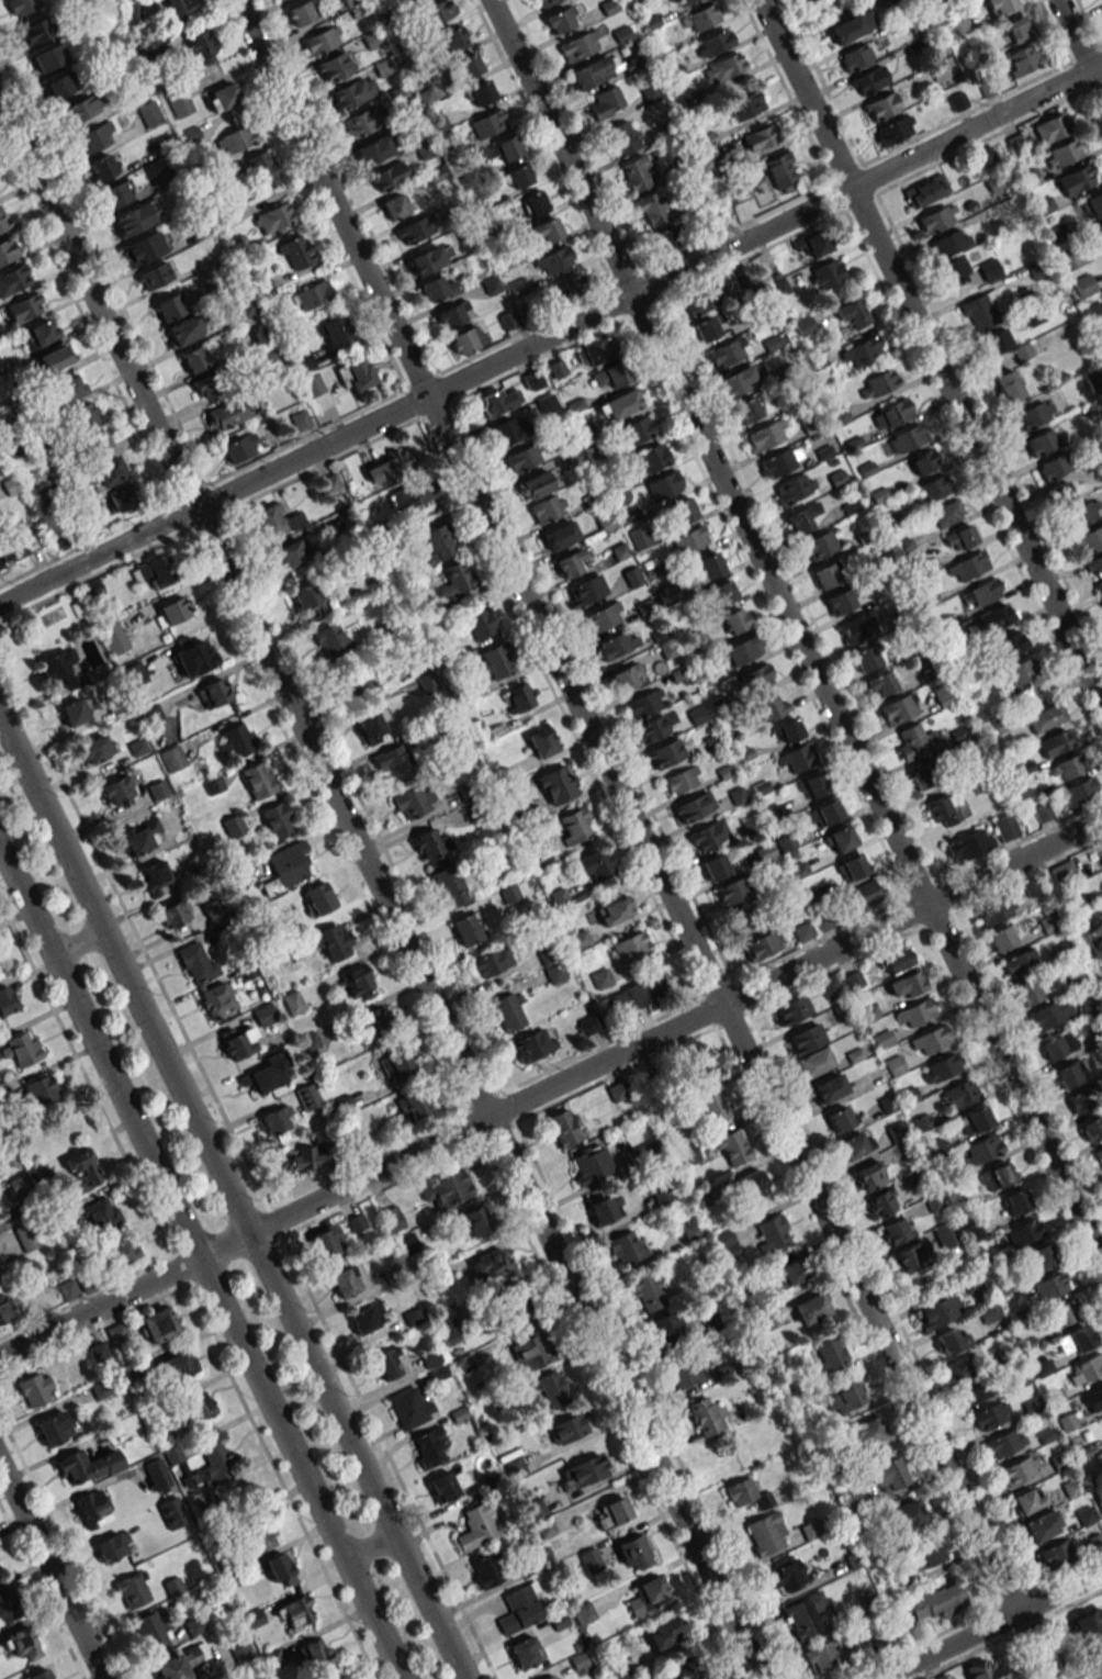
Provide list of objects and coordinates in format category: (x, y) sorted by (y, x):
building: (415, 0)
building: (1101, 0)
building: (544, 1)
building: (684, 2)
building: (22, 5)
building: (999, 5)
building: (179, 7)
building: (302, 11)
building: (437, 11)
building: (564, 18)
building: (701, 18)
building: (851, 26)
building: (1017, 29)
building: (959, 30)
building: (34, 31)
building: (453, 38)
building: (322, 41)
building: (713, 43)
building: (580, 45)
building: (202, 46)
road: (1078, 47)
building: (854, 57)
building: (48, 58)
building: (1023, 59)
building: (466, 65)
building: (334, 67)
building: (723, 68)
building: (595, 69)
building: (868, 80)
building: (58, 86)
building: (353, 92)
building: (480, 92)
building: (223, 97)
building: (605, 101)
building: (180, 103)
building: (744, 105)
building: (881, 105)
building: (82, 108)
building: (149, 113)
building: (360, 122)
building: (488, 123)
building: (1052, 127)
building: (895, 130)
building: (94, 137)
building: (760, 137)
building: (237, 138)
building: (621, 138)
building: (507, 147)
building: (373, 149)
building: (1064, 153)
building: (102, 167)
building: (262, 169)
building: (781, 169)
building: (636, 174)
building: (389, 176)
building: (518, 176)
building: (1077, 179)
building: (925, 191)
building: (116, 194)
building: (533, 203)
building: (1093, 204)
building: (395, 205)
building: (650, 209)
building: (274, 216)
building: (135, 217)
building: (937, 219)
building: (2, 223)
building: (414, 230)
building: (547, 230)
building: (1099, 232)
building: (667, 239)
building: (816, 244)
building: (946, 244)
building: (144, 247)
building: (7, 249)
building: (295, 251)
building: (426, 260)
building: (553, 260)
building: (954, 267)
building: (826, 275)
building: (154, 276)
building: (13, 279)
building: (1083, 286)
building: (438, 287)
building: (571, 287)
building: (313, 294)
building: (700, 301)
building: (246, 305)
building: (25, 307)
building: (169, 307)
building: (852, 313)
building: (978, 313)
building: (1094, 313)
building: (452, 315)
building: (707, 327)
building: (183, 329)
building: (334, 332)
building: (38, 334)
road: (551, 335)
building: (1100, 336)
building: (465, 339)
building: (997, 342)
building: (598, 351)
building: (727, 352)
building: (862, 352)
road: (930, 352)
building: (55, 359)
building: (194, 359)
building: (303, 361)
building: (356, 374)
building: (610, 374)
building: (738, 381)
building: (877, 383)
building: (209, 384)
building: (313, 385)
building: (70, 388)
building: (1009, 388)
building: (499, 400)
building: (620, 404)
building: (746, 411)
building: (226, 414)
building: (891, 414)
building: (83, 415)
building: (1033, 415)
building: (636, 430)
building: (507, 432)
building: (766, 435)
building: (903, 439)
building: (94, 440)
building: (1042, 443)
building: (240, 447)
building: (522, 458)
building: (649, 459)
building: (779, 461)
building: (923, 461)
building: (387, 466)
building: (1053, 467)
building: (109, 471)
building: (330, 483)
building: (536, 484)
building: (664, 485)
building: (933, 488)
building: (794, 489)
building: (412, 493)
building: (1059, 493)
building: (123, 496)
building: (547, 508)
building: (684, 510)
building: (1082, 513)
building: (944, 514)
building: (801, 517)
building: (275, 518)
building: (559, 535)
building: (640, 537)
building: (959, 538)
building: (1089, 539)
building: (689, 540)
building: (439, 542)
building: (819, 545)
building: (290, 559)
building: (570, 562)
building: (709, 564)
building: (967, 566)
building: (1095, 570)
building: (153, 572)
building: (826, 574)
building: (456, 580)
building: (584, 590)
building: (723, 591)
building: (981, 593)
building: (310, 601)
building: (841, 601)
building: (171, 612)
building: (604, 616)
building: (996, 616)
building: (479, 620)
building: (735, 620)
building: (858, 626)
road: (795, 634)
building: (113, 638)
building: (331, 639)
building: (616, 643)
building: (1009, 645)
building: (742, 650)
building: (194, 657)
building: (865, 658)
building: (494, 661)
building: (929, 667)
building: (64, 668)
building: (1020, 672)
building: (134, 673)
building: (627, 676)
building: (756, 676)
building: (353, 683)
building: (427, 683)
building: (880, 683)
building: (213, 693)
building: (942, 694)
building: (1023, 694)
building: (518, 697)
building: (644, 703)
building: (769, 706)
building: (897, 709)
building: (72, 712)
building: (1046, 717)
building: (371, 724)
building: (997, 726)
building: (653, 729)
building: (789, 730)
building: (236, 739)
building: (540, 740)
building: (915, 741)
building: (1055, 742)
building: (95, 749)
building: (665, 753)
building: (172, 758)
building: (796, 758)
building: (392, 761)
building: (1068, 768)
building: (923, 775)
building: (257, 780)
building: (682, 780)
building: (556, 784)
building: (813, 785)
building: (116, 791)
building: (1080, 791)
building: (414, 801)
building: (693, 806)
building: (942, 810)
building: (823, 813)
building: (278, 820)
building: (233, 826)
building: (574, 826)
building: (1005, 827)
building: (708, 835)
building: (139, 836)
road: (641, 839)
building: (840, 839)
building: (968, 844)
building: (431, 846)
building: (1100, 851)
building: (597, 863)
building: (288, 866)
building: (716, 866)
building: (851, 868)
building: (1062, 872)
building: (155, 878)
building: (448, 886)
road: (380, 888)
building: (514, 891)
building: (730, 892)
building: (864, 896)
building: (318, 898)
building: (614, 910)
building: (997, 910)
building: (173, 914)
building: (746, 919)
building: (468, 928)
building: (802, 931)
building: (1002, 937)
building: (334, 941)
road: (77, 943)
building: (762, 945)
building: (629, 948)
building: (195, 961)
building: (897, 961)
building: (492, 962)
building: (1020, 962)
building: (555, 973)
building: (356, 983)
building: (906, 985)
building: (829, 986)
building: (644, 990)
building: (1027, 992)
building: (5, 998)
building: (217, 999)
building: (292, 1001)
building: (792, 1009)
building: (509, 1010)
building: (915, 1012)
building: (1050, 1014)
building: (376, 1022)
building: (588, 1025)
building: (805, 1039)
building: (882, 1039)
building: (930, 1040)
building: (234, 1043)
building: (533, 1044)
building: (1057, 1044)
building: (23, 1049)
building: (814, 1063)
building: (396, 1064)
building: (693, 1066)
building: (896, 1066)
building: (941, 1067)
building: (266, 1074)
building: (1069, 1074)
road: (550, 1086)
building: (829, 1087)
building: (40, 1090)
building: (618, 1090)
building: (960, 1093)
building: (307, 1097)
building: (1081, 1100)
building: (413, 1104)
building: (713, 1108)
building: (840, 1118)
building: (974, 1120)
building: (272, 1123)
building: (565, 1127)
building: (1092, 1128)
building: (853, 1145)
building: (733, 1148)
building: (982, 1149)
building: (1099, 1156)
building: (303, 1158)
building: (591, 1164)
building: (82, 1169)
building: (869, 1175)
building: (997, 1176)
building: (752, 1180)
building: (447, 1189)
road: (232, 1198)
building: (1016, 1201)
building: (881, 1202)
building: (935, 1202)
building: (604, 1209)
building: (101, 1213)
building: (391, 1218)
building: (474, 1221)
building: (691, 1230)
building: (895, 1231)
building: (1024, 1231)
building: (772, 1232)
building: (945, 1235)
building: (25, 1236)
building: (326, 1242)
building: (625, 1247)
building: (123, 1251)
building: (1042, 1255)
building: (910, 1256)
road: (200, 1263)
building: (492, 1263)
building: (0, 1265)
building: (788, 1273)
building: (346, 1281)
building: (1050, 1286)
building: (648, 1291)
building: (516, 1303)
building: (810, 1309)
building: (2, 1310)
building: (937, 1312)
building: (988, 1313)
building: (1061, 1314)
building: (367, 1318)
building: (157, 1324)
building: (447, 1328)
building: (664, 1330)
building: (117, 1333)
building: (951, 1341)
building: (1076, 1341)
building: (530, 1348)
building: (98, 1352)
building: (831, 1354)
building: (386, 1364)
building: (176, 1366)
building: (957, 1367)
building: (1086, 1369)
building: (685, 1372)
building: (35, 1389)
building: (100, 1389)
building: (551, 1389)
building: (974, 1390)
building: (844, 1397)
building: (1094, 1398)
building: (199, 1406)
building: (409, 1408)
building: (990, 1414)
building: (705, 1417)
building: (53, 1428)
building: (569, 1428)
building: (867, 1431)
building: (1004, 1443)
building: (427, 1446)
building: (87, 1466)
building: (209, 1466)
building: (1019, 1470)
building: (583, 1471)
building: (158, 1475)
building: (888, 1475)
building: (445, 1486)
building: (741, 1491)
building: (1027, 1500)
building: (92, 1509)
building: (612, 1512)
building: (908, 1513)
building: (1042, 1525)
building: (477, 1526)
building: (766, 1533)
building: (112, 1547)
road: (369, 1547)
building: (633, 1552)
building: (931, 1553)
building: (1056, 1554)
building: (591, 1560)
building: (279, 1568)
building: (484, 1570)
road: (50, 1572)
building: (786, 1574)
building: (132, 1590)
building: (648, 1596)
building: (938, 1601)
building: (5, 1605)
building: (519, 1609)
building: (294, 1613)
building: (805, 1614)
building: (255, 1616)
building: (1089, 1623)
road: (991, 1626)
building: (192, 1627)
building: (149, 1631)
building: (664, 1631)
building: (22, 1644)
building: (240, 1652)
building: (316, 1652)
building: (526, 1652)
building: (1095, 1655)
building: (823, 1656)
building: (274, 1658)
building: (578, 1661)
building: (181, 1663)
building: (683, 1669)
building: (985, 1670)
building: (41, 1675)
building: (1100, 1676)
building: (339, 1677)
building: (552, 1677)
building: (940, 1677)

